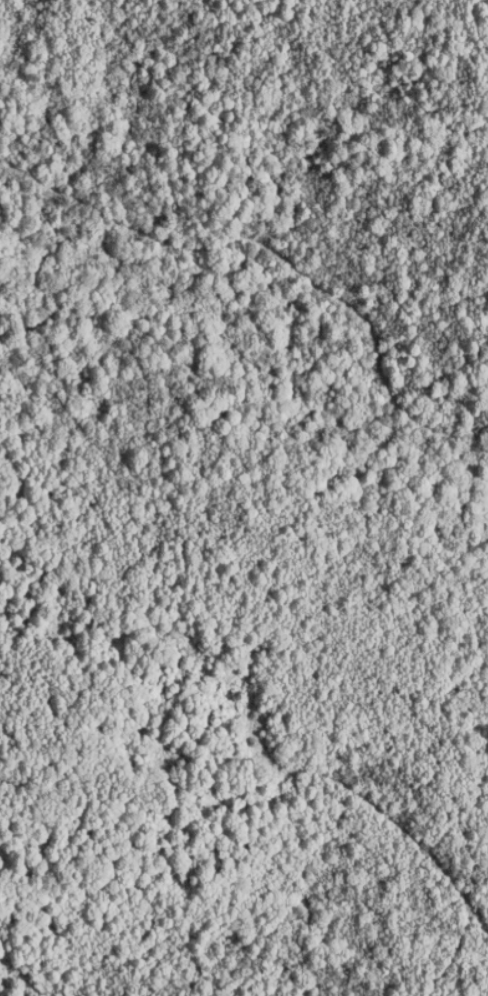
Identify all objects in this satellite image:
road: (278, 252)

